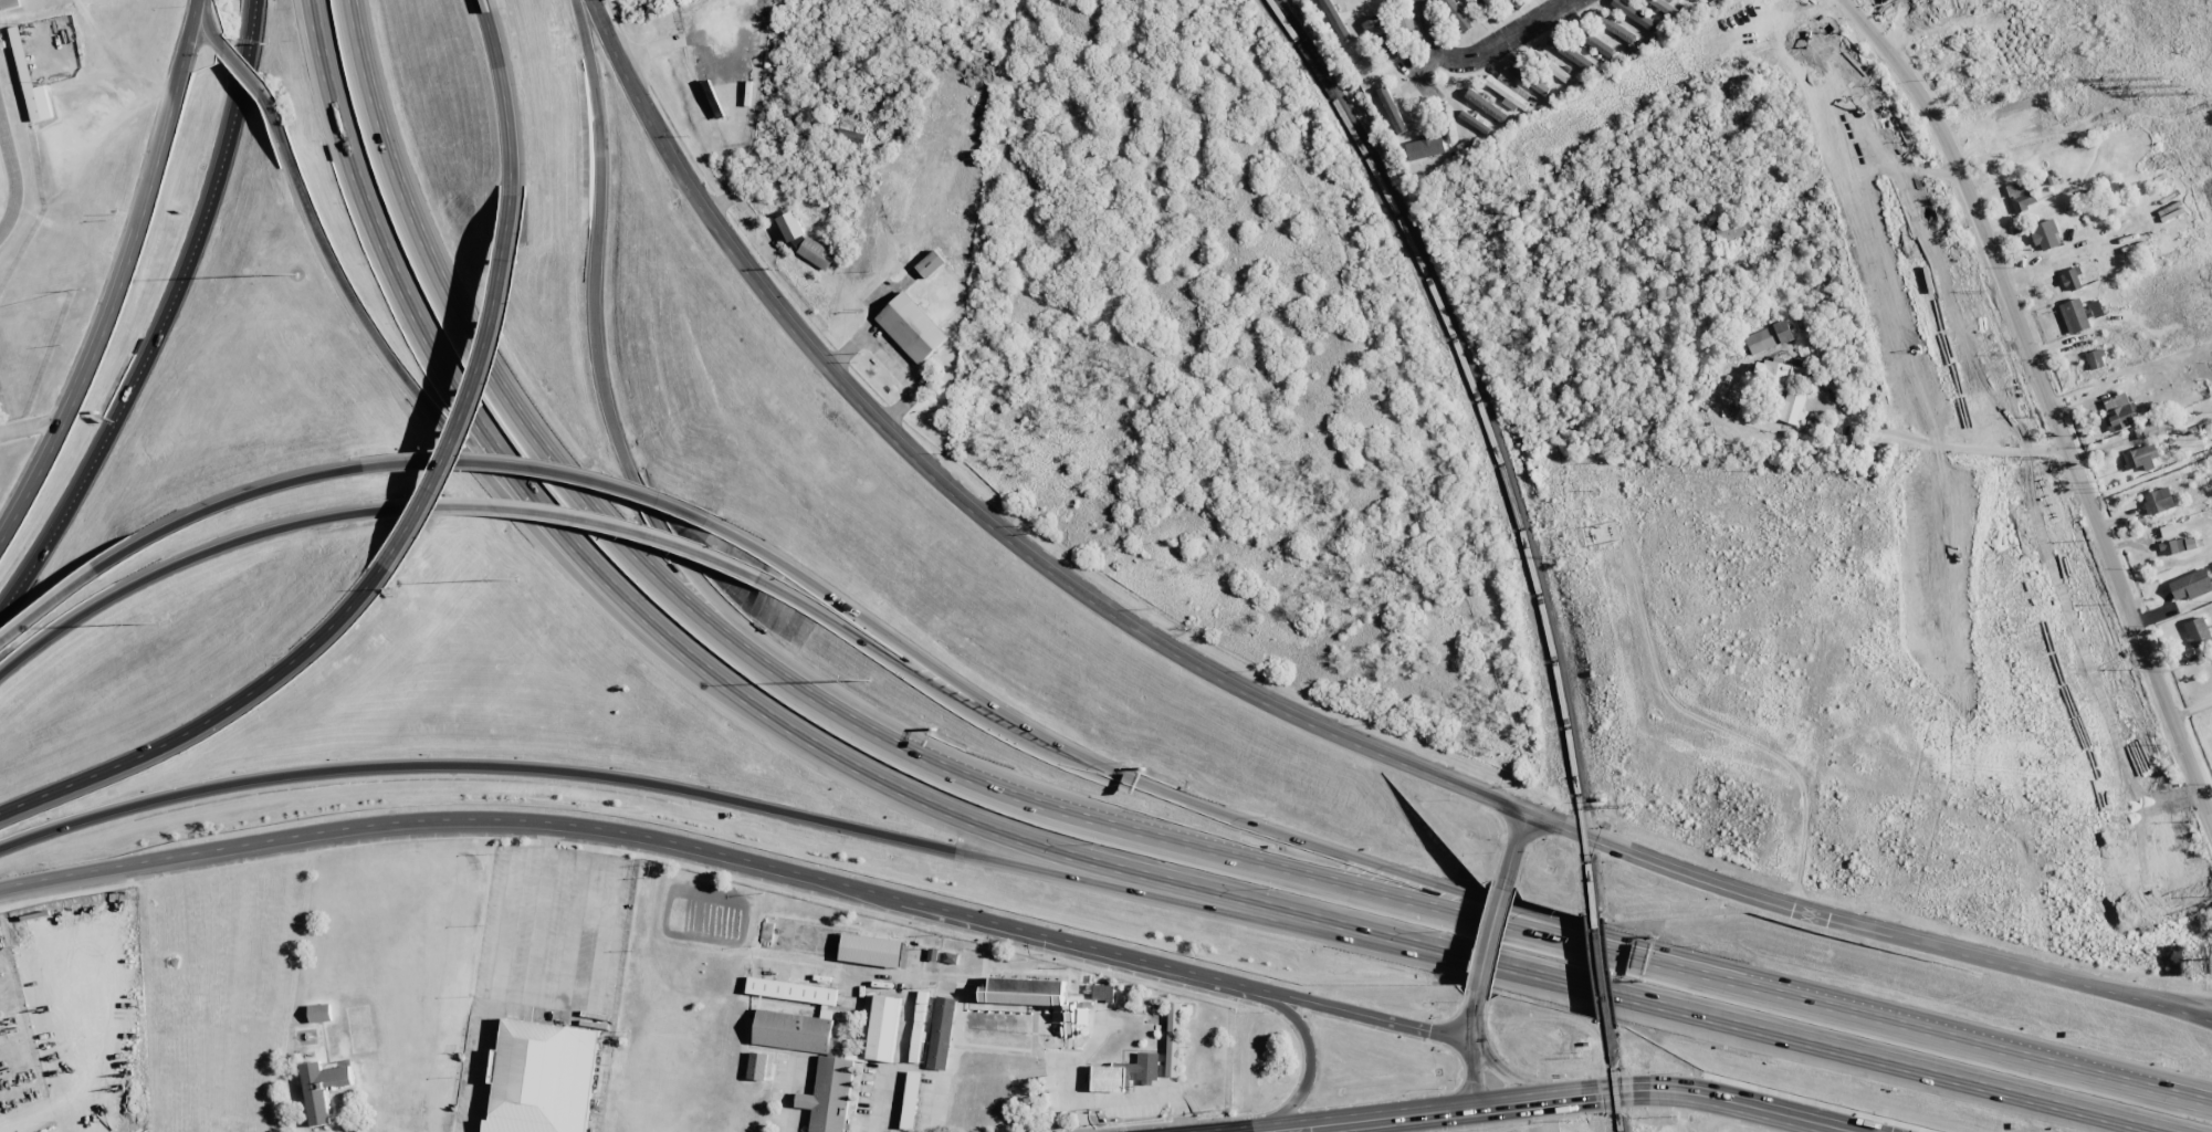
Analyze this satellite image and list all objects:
building: (1694, 2)
building: (1516, 3)
building: (9, 4)
building: (1665, 8)
building: (1489, 9)
building: (1458, 14)
building: (1634, 14)
building: (1332, 17)
building: (1406, 23)
road: (209, 24)
building: (1613, 27)
building: (1597, 44)
road: (1479, 50)
building: (1569, 52)
building: (1364, 63)
building: (1550, 66)
road: (241, 67)
building: (1526, 78)
building: (30, 81)
power tower: (2181, 82)
building: (1736, 87)
road: (500, 91)
building: (1509, 92)
building: (1485, 106)
building: (1391, 109)
building: (1474, 122)
building: (849, 135)
building: (1424, 148)
track: (8, 177)
park: (0, 185)
building: (2021, 195)
building: (790, 226)
building: (1730, 229)
building: (2045, 235)
power tower: (1482, 240)
building: (816, 253)
building: (930, 263)
building: (2072, 279)
road: (123, 280)
building: (2095, 308)
building: (2074, 316)
road: (167, 319)
building: (911, 327)
building: (1768, 337)
building: (2095, 359)
road: (441, 367)
building: (1781, 373)
road: (620, 384)
road: (473, 391)
road: (2045, 394)
building: (1792, 407)
road: (430, 408)
building: (2118, 412)
road: (34, 423)
railway: (1488, 438)
building: (2140, 458)
road: (541, 467)
road: (228, 499)
building: (2158, 501)
road: (574, 518)
building: (2167, 531)
building: (2178, 545)
power tower: (1563, 556)
road: (172, 564)
building: (2191, 585)
road: (51, 601)
building: (2197, 632)
road: (948, 672)
road: (1270, 700)
road: (747, 707)
road: (773, 719)
road: (202, 721)
road: (721, 798)
power tower: (1629, 805)
road: (1089, 815)
road: (250, 841)
road: (1510, 850)
road: (1363, 863)
road: (1115, 864)
road: (986, 920)
road: (1486, 944)
building: (873, 951)
building: (951, 957)
road: (496, 962)
railway: (1598, 971)
road: (1565, 983)
building: (796, 992)
building: (1102, 993)
building: (1028, 995)
road: (2180, 1000)
building: (319, 1013)
building: (918, 1027)
building: (888, 1031)
building: (944, 1034)
building: (1173, 1039)
road: (1468, 1052)
building: (1147, 1067)
road: (1303, 1070)
road: (1505, 1073)
building: (542, 1078)
railway: (1612, 1078)
building: (1112, 1080)
road: (1941, 1081)
building: (322, 1088)
road: (2168, 1089)
road: (1666, 1092)
building: (911, 1100)
road: (1373, 1120)

